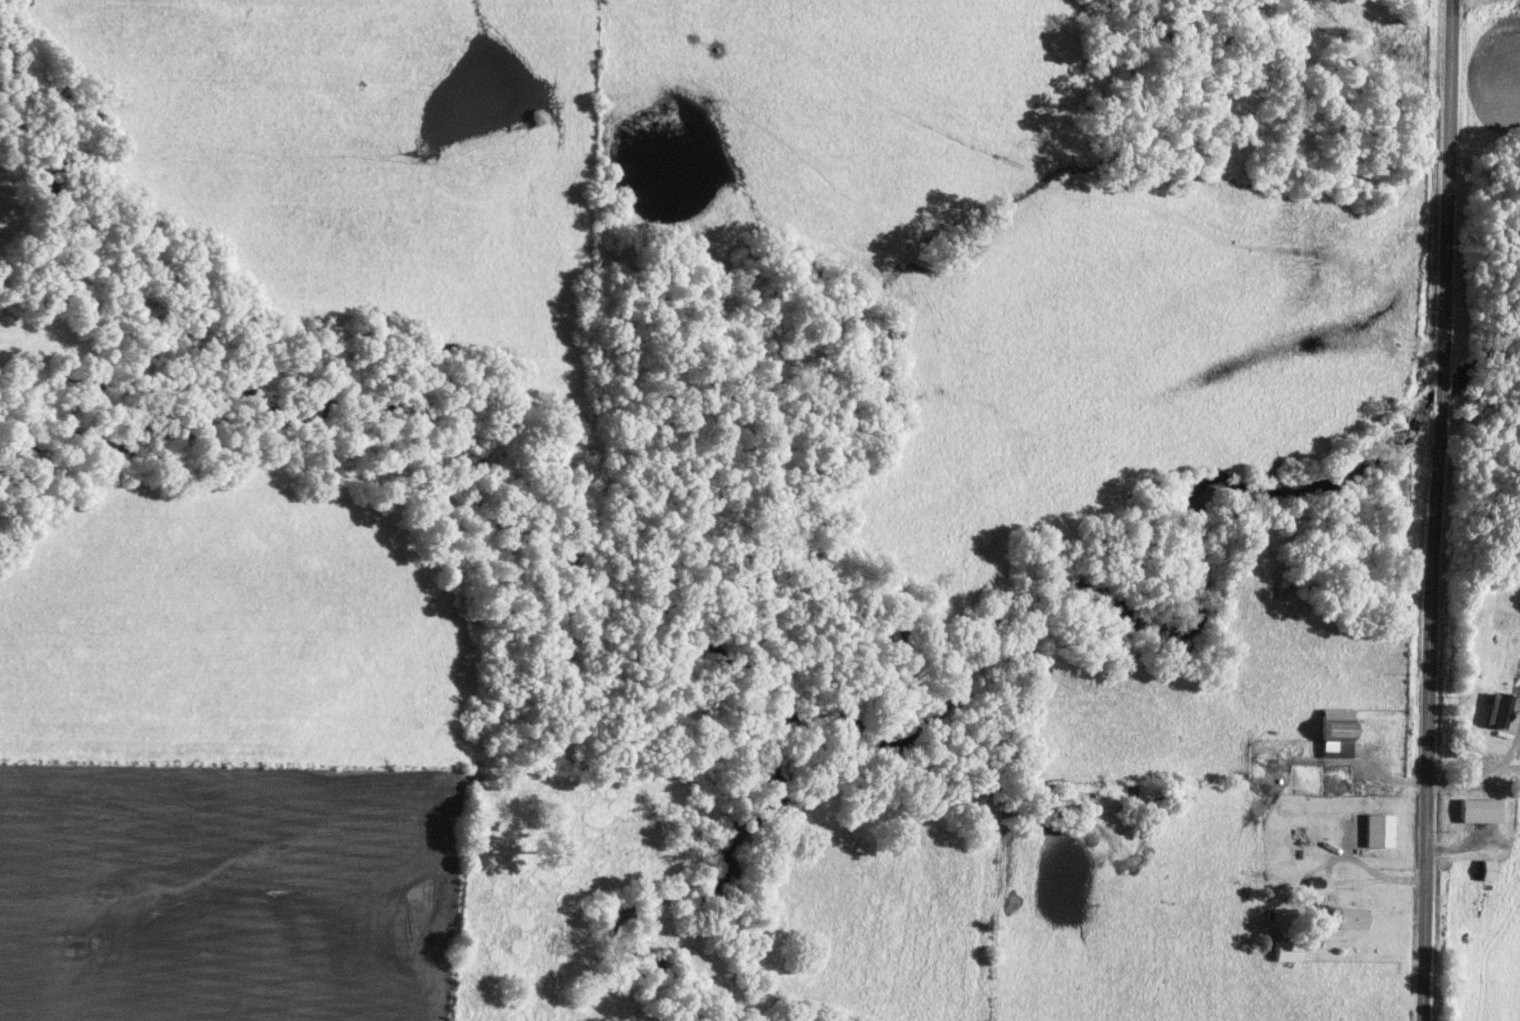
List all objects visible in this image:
road: (1437, 510)
building: (1331, 731)
building: (1473, 809)
building: (1374, 829)
building: (1481, 869)
building: (1341, 917)
building: (1284, 947)

